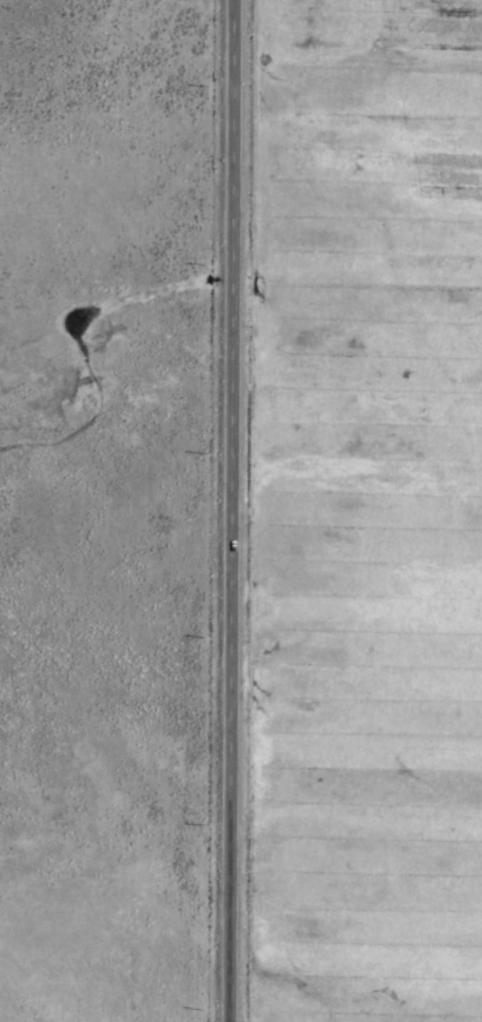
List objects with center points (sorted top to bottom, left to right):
road: (232, 511)
crop: (241, 511)

